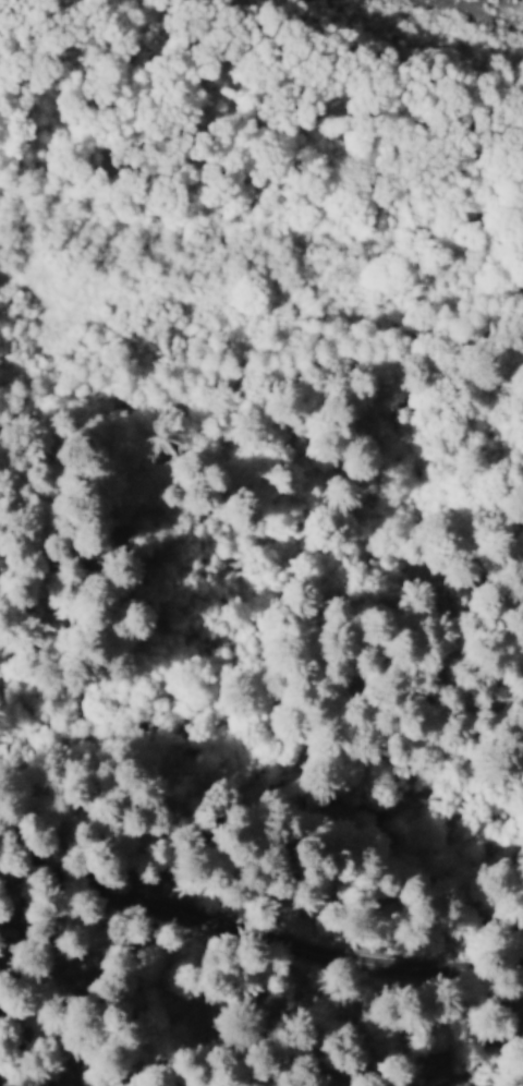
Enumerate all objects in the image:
road: (260, 930)

